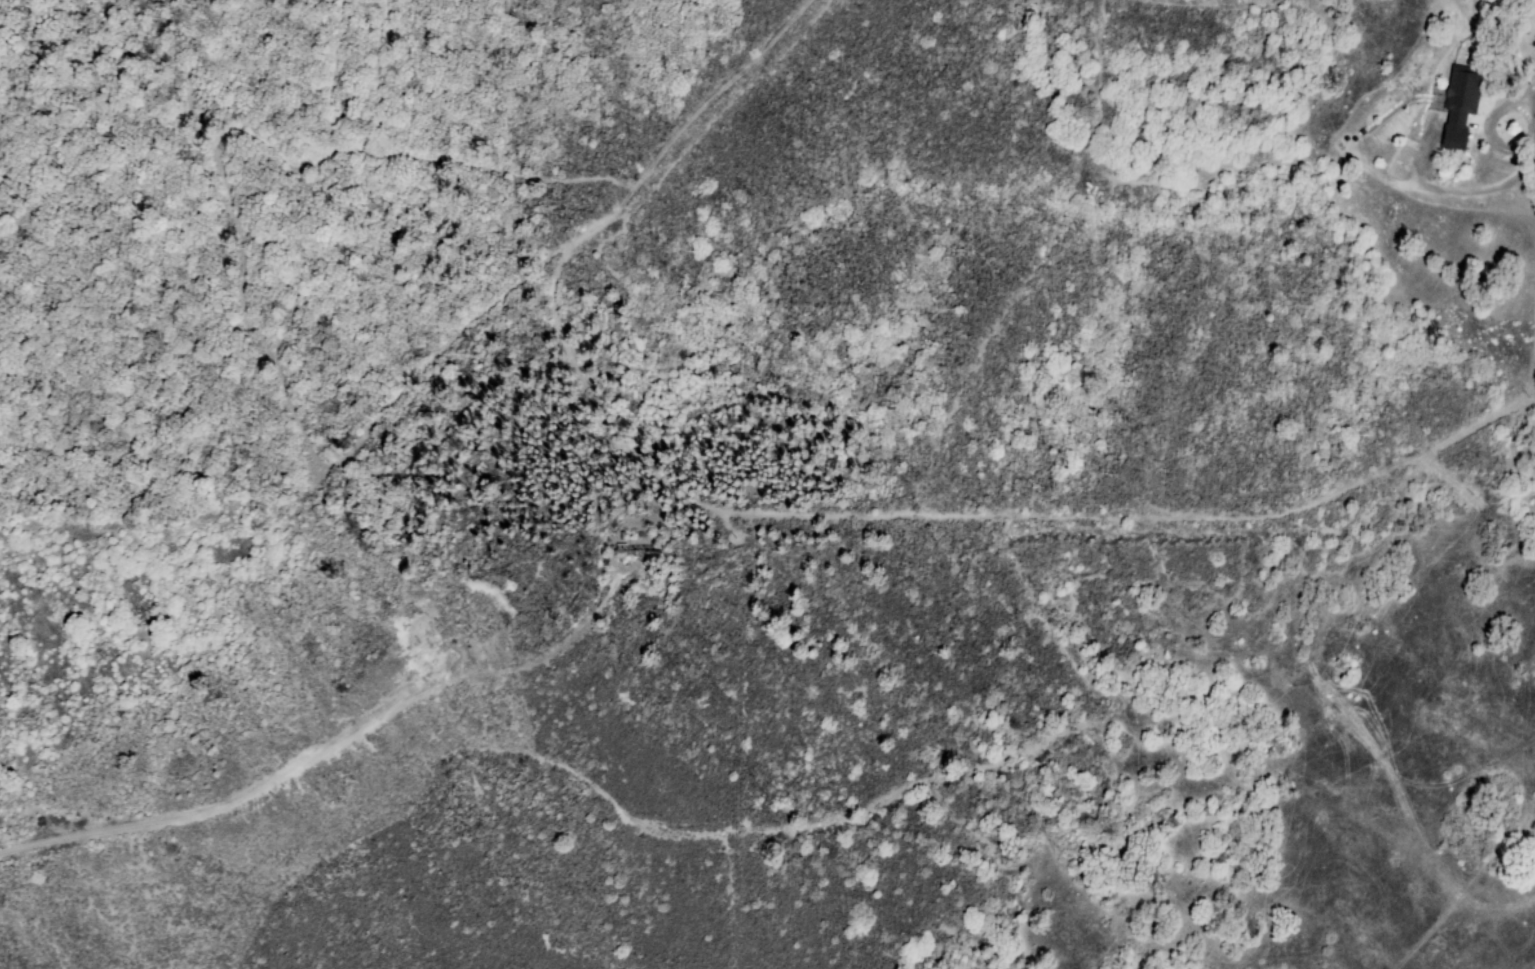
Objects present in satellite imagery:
building: (1459, 105)

